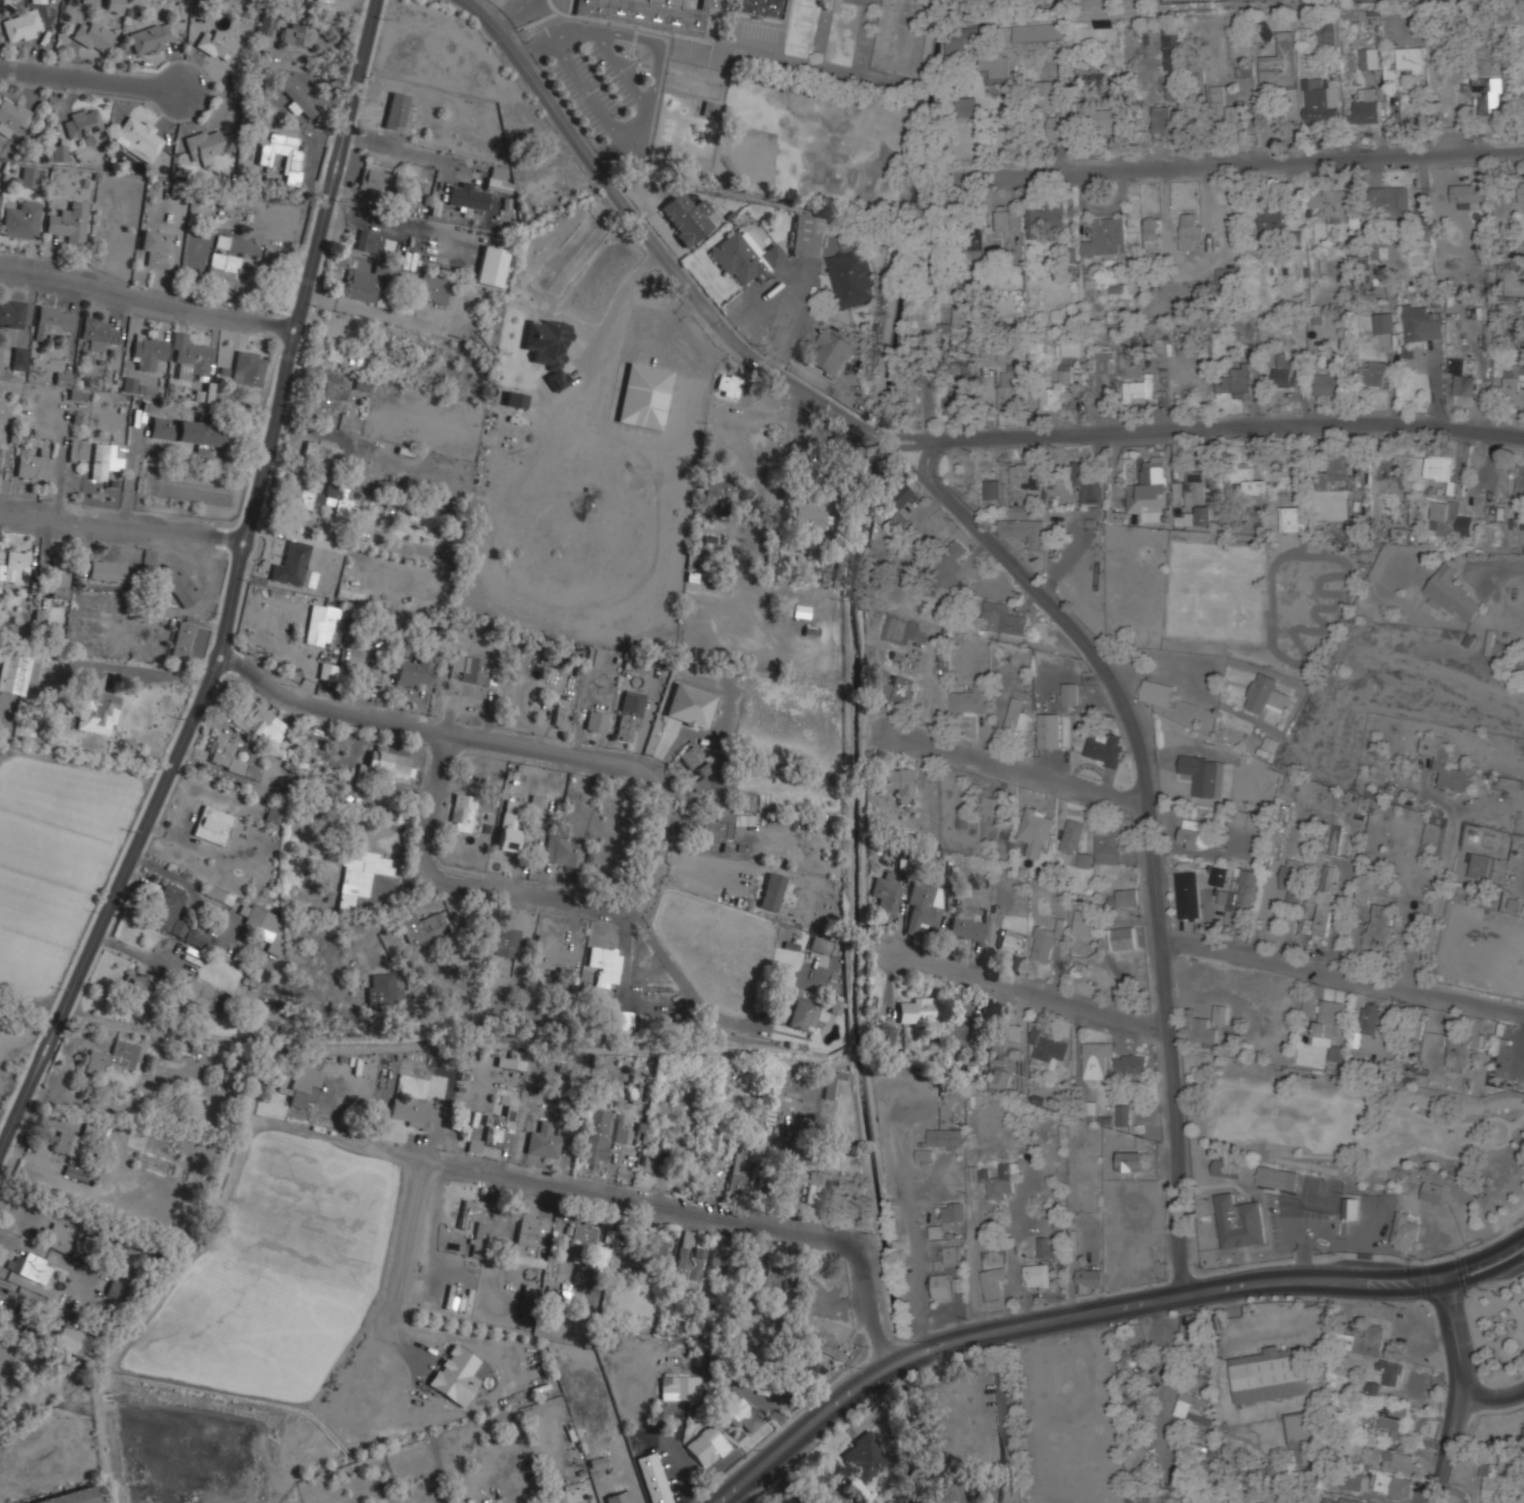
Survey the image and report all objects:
building: (38, 1)
building: (114, 6)
building: (760, 7)
building: (650, 13)
road: (513, 14)
building: (267, 23)
building: (22, 25)
building: (1039, 32)
building: (298, 34)
building: (1326, 34)
building: (93, 35)
building: (153, 37)
building: (217, 44)
road: (657, 47)
building: (1173, 47)
building: (1369, 58)
building: (1279, 62)
building: (1405, 63)
building: (995, 67)
road: (621, 69)
road: (90, 79)
parking lot: (601, 81)
road: (589, 92)
building: (1367, 94)
building: (1047, 95)
building: (1217, 101)
building: (1175, 103)
building: (1320, 103)
building: (1490, 103)
building: (967, 106)
building: (1364, 112)
building: (12, 115)
building: (1236, 115)
building: (1162, 118)
building: (84, 122)
building: (1053, 126)
building: (971, 136)
building: (138, 137)
park: (771, 141)
park: (810, 141)
building: (205, 144)
building: (283, 152)
building: (59, 153)
road: (1232, 165)
building: (497, 173)
building: (29, 177)
building: (375, 180)
building: (497, 185)
building: (1467, 194)
building: (1521, 194)
building: (467, 196)
building: (1390, 200)
building: (505, 203)
building: (1335, 206)
building: (465, 216)
building: (686, 216)
building: (1003, 219)
building: (22, 220)
building: (226, 220)
building: (1044, 220)
building: (1271, 220)
building: (70, 222)
building: (1151, 228)
road: (643, 230)
building: (1188, 230)
building: (1106, 237)
building: (369, 241)
building: (158, 247)
building: (976, 247)
building: (743, 257)
building: (491, 266)
building: (226, 270)
building: (1222, 274)
building: (852, 278)
building: (361, 285)
building: (433, 289)
road: (145, 307)
road: (612, 307)
building: (12, 312)
road: (789, 315)
building: (965, 315)
building: (53, 319)
building: (1384, 323)
building: (1421, 325)
building: (98, 331)
building: (548, 347)
building: (1073, 349)
building: (148, 351)
building: (831, 352)
building: (333, 354)
building: (191, 355)
building: (19, 356)
building: (1103, 362)
building: (249, 367)
road: (809, 369)
building: (1283, 370)
building: (1374, 374)
building: (63, 377)
building: (1462, 378)
building: (129, 381)
building: (1234, 382)
building: (1328, 384)
building: (1513, 385)
building: (728, 386)
building: (1012, 386)
building: (1140, 390)
building: (1055, 392)
building: (331, 396)
building: (515, 399)
building: (911, 400)
building: (954, 402)
building: (162, 426)
road: (1189, 429)
building: (202, 432)
building: (0, 449)
building: (77, 449)
building: (845, 451)
building: (320, 453)
road: (902, 458)
building: (104, 460)
building: (32, 462)
building: (1443, 473)
building: (1344, 474)
building: (1024, 476)
building: (1243, 477)
building: (1521, 480)
building: (1087, 483)
building: (1149, 486)
building: (1194, 488)
building: (719, 490)
building: (995, 490)
building: (328, 500)
building: (896, 507)
building: (388, 509)
building: (1204, 515)
building: (1117, 516)
building: (1257, 518)
building: (815, 519)
building: (1291, 519)
building: (1449, 519)
road: (783, 523)
road: (123, 527)
building: (1024, 531)
building: (1400, 535)
building: (816, 548)
building: (19, 564)
building: (949, 565)
building: (294, 566)
road: (1500, 568)
building: (1, 569)
building: (108, 569)
building: (59, 577)
building: (179, 585)
road: (233, 592)
building: (1451, 594)
building: (798, 610)
building: (40, 616)
building: (1002, 618)
building: (321, 625)
building: (11, 632)
building: (184, 637)
building: (594, 657)
road: (238, 659)
building: (471, 669)
building: (328, 672)
building: (413, 672)
road: (1158, 674)
building: (372, 675)
building: (13, 676)
building: (894, 687)
building: (1070, 693)
building: (1156, 693)
building: (1266, 695)
building: (973, 700)
building: (97, 705)
building: (695, 707)
building: (562, 716)
building: (628, 716)
building: (1017, 716)
building: (596, 722)
building: (262, 724)
building: (1049, 730)
road: (472, 736)
building: (1104, 747)
building: (1269, 747)
building: (231, 757)
road: (441, 759)
building: (695, 760)
building: (390, 764)
building: (1445, 764)
road: (1017, 768)
building: (1204, 776)
building: (895, 782)
building: (537, 802)
building: (992, 805)
building: (274, 813)
building: (462, 815)
building: (1249, 820)
building: (213, 825)
building: (723, 827)
road: (1148, 827)
building: (509, 830)
building: (1035, 832)
building: (1195, 834)
building: (1073, 836)
building: (1335, 840)
building: (1109, 844)
building: (562, 849)
building: (1085, 860)
building: (1482, 866)
road: (1523, 872)
building: (360, 875)
building: (1219, 876)
building: (1365, 880)
road: (183, 881)
road: (542, 891)
building: (772, 891)
building: (1240, 893)
building: (1187, 894)
building: (1128, 895)
building: (886, 896)
building: (773, 901)
building: (924, 903)
building: (1321, 903)
building: (167, 906)
building: (1233, 919)
building: (1084, 923)
building: (1381, 923)
building: (265, 926)
building: (422, 927)
building: (967, 928)
building: (1123, 937)
building: (1012, 940)
building: (505, 942)
building: (1043, 943)
building: (821, 944)
building: (551, 954)
building: (605, 964)
road: (1341, 975)
building: (137, 983)
building: (382, 985)
road: (1029, 992)
building: (202, 994)
building: (919, 1009)
building: (803, 1012)
building: (269, 1013)
building: (1221, 1013)
building: (1329, 1017)
building: (1366, 1023)
building: (959, 1027)
building: (1005, 1030)
building: (1417, 1030)
building: (1202, 1031)
building: (886, 1033)
building: (1049, 1048)
building: (1338, 1052)
building: (1458, 1052)
building: (112, 1057)
building: (1097, 1060)
building: (511, 1061)
building: (1130, 1064)
building: (231, 1068)
building: (728, 1074)
building: (1000, 1075)
building: (300, 1086)
building: (413, 1113)
building: (1123, 1115)
building: (501, 1124)
building: (96, 1129)
building: (602, 1133)
building: (711, 1134)
building: (946, 1137)
building: (544, 1139)
building: (67, 1144)
building: (473, 1145)
road: (376, 1149)
building: (654, 1157)
building: (1134, 1160)
building: (1227, 1167)
building: (739, 1173)
building: (993, 1178)
building: (956, 1180)
building: (821, 1186)
building: (784, 1188)
building: (1287, 1190)
building: (1432, 1191)
building: (1350, 1207)
road: (988, 1212)
building: (952, 1213)
road: (697, 1214)
building: (1239, 1220)
building: (1405, 1230)
building: (583, 1233)
building: (56, 1238)
building: (530, 1241)
building: (1047, 1248)
building: (652, 1249)
building: (952, 1254)
building: (1145, 1256)
building: (597, 1258)
building: (687, 1261)
building: (718, 1261)
road: (399, 1263)
building: (30, 1267)
building: (1038, 1275)
building: (1089, 1278)
building: (993, 1281)
building: (771, 1282)
building: (958, 1284)
building: (941, 1285)
building: (116, 1289)
building: (529, 1290)
building: (6, 1309)
road: (1097, 1311)
park: (1497, 1329)
building: (1188, 1331)
building: (1372, 1341)
building: (825, 1342)
building: (1133, 1362)
building: (811, 1369)
road: (25, 1370)
building: (1389, 1371)
building: (456, 1375)
building: (1268, 1376)
road: (1167, 1378)
building: (680, 1387)
building: (1374, 1389)
road: (1461, 1391)
road: (1492, 1395)
building: (1137, 1405)
building: (1195, 1409)
building: (741, 1412)
building: (1008, 1414)
building: (1393, 1419)
parking lot: (1074, 1421)
building: (1297, 1427)
building: (932, 1442)
building: (707, 1446)
building: (1207, 1449)
building: (865, 1456)
building: (1398, 1464)
building: (1208, 1469)
building: (1494, 1476)
building: (652, 1478)
building: (1352, 1482)
building: (1393, 1485)
building: (985, 1491)
building: (1011, 1492)
building: (1240, 1496)
building: (72, 1497)
building: (560, 1497)
building: (620, 1497)
building: (1341, 1501)

